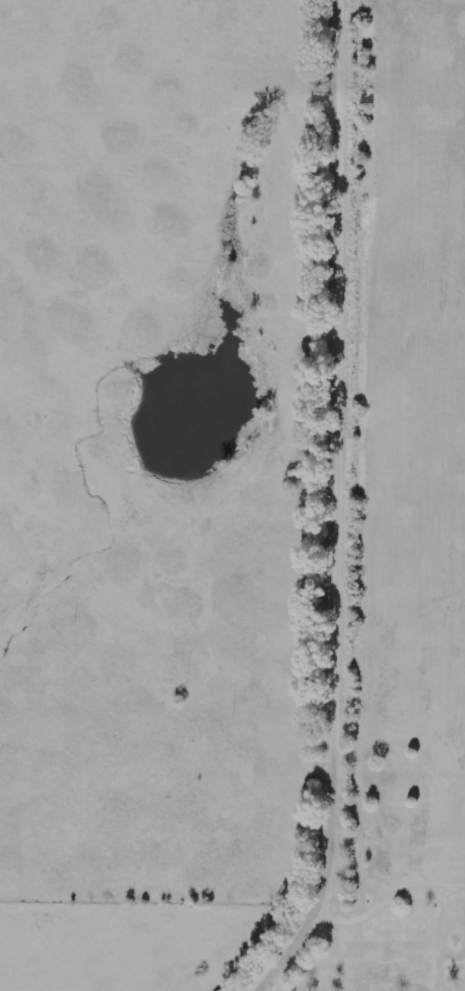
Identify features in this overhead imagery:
road: (343, 504)

